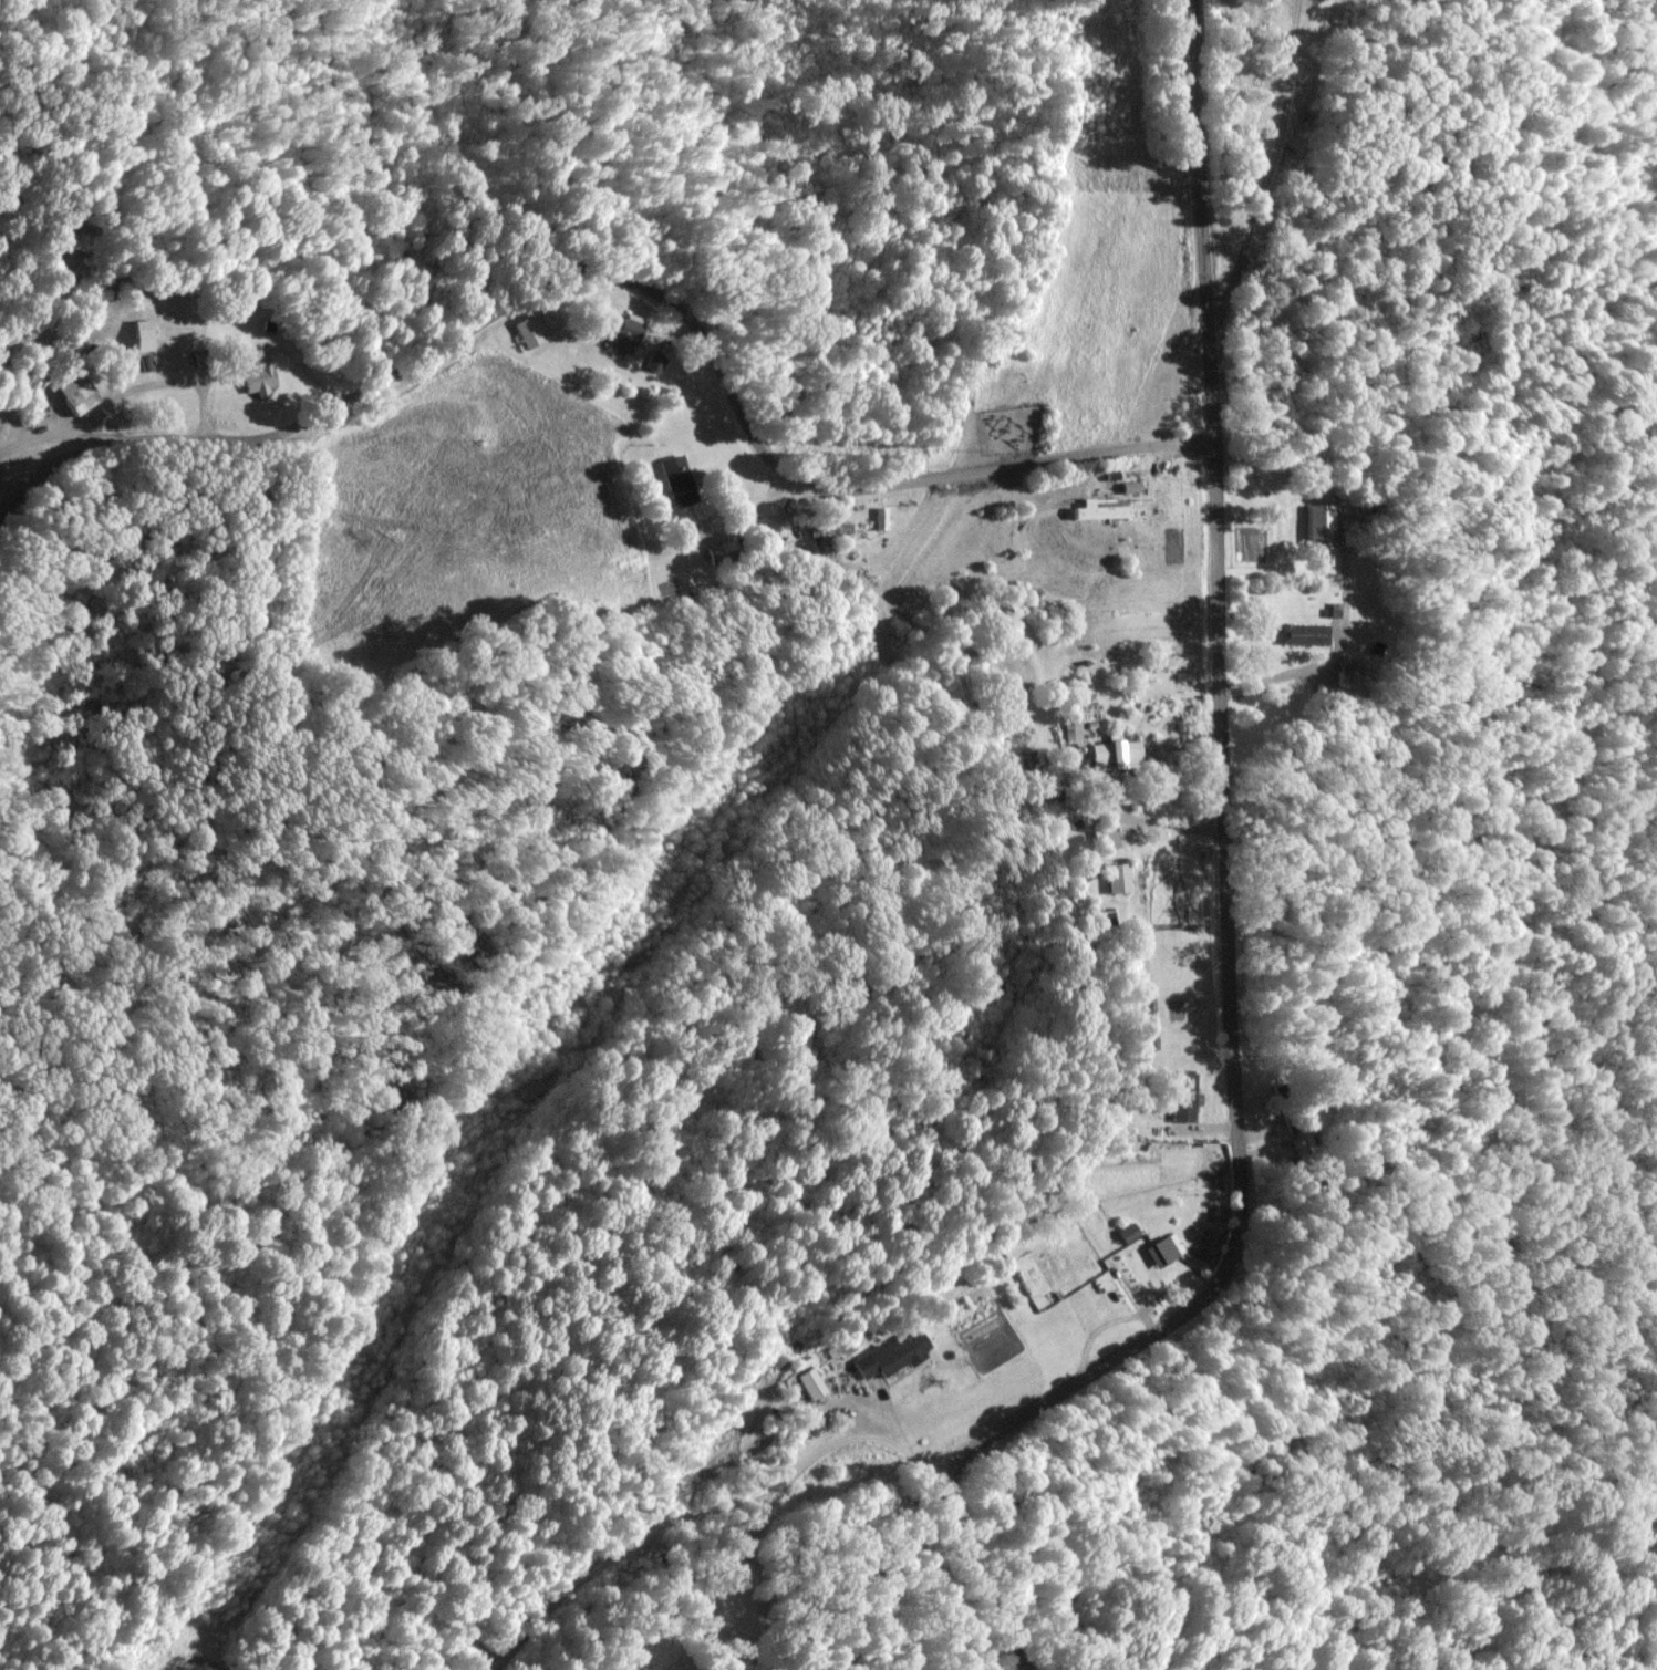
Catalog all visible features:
road: (1270, 135)
road: (624, 279)
building: (624, 330)
building: (527, 331)
building: (260, 374)
building: (1177, 388)
building: (81, 398)
building: (679, 479)
building: (1317, 523)
building: (828, 537)
building: (721, 551)
building: (1303, 633)
building: (1348, 674)
building: (1116, 750)
building: (1105, 836)
building: (1119, 877)
road: (1226, 919)
road: (1017, 953)
building: (1302, 1145)
building: (1161, 1251)
building: (893, 1353)
building: (810, 1383)

